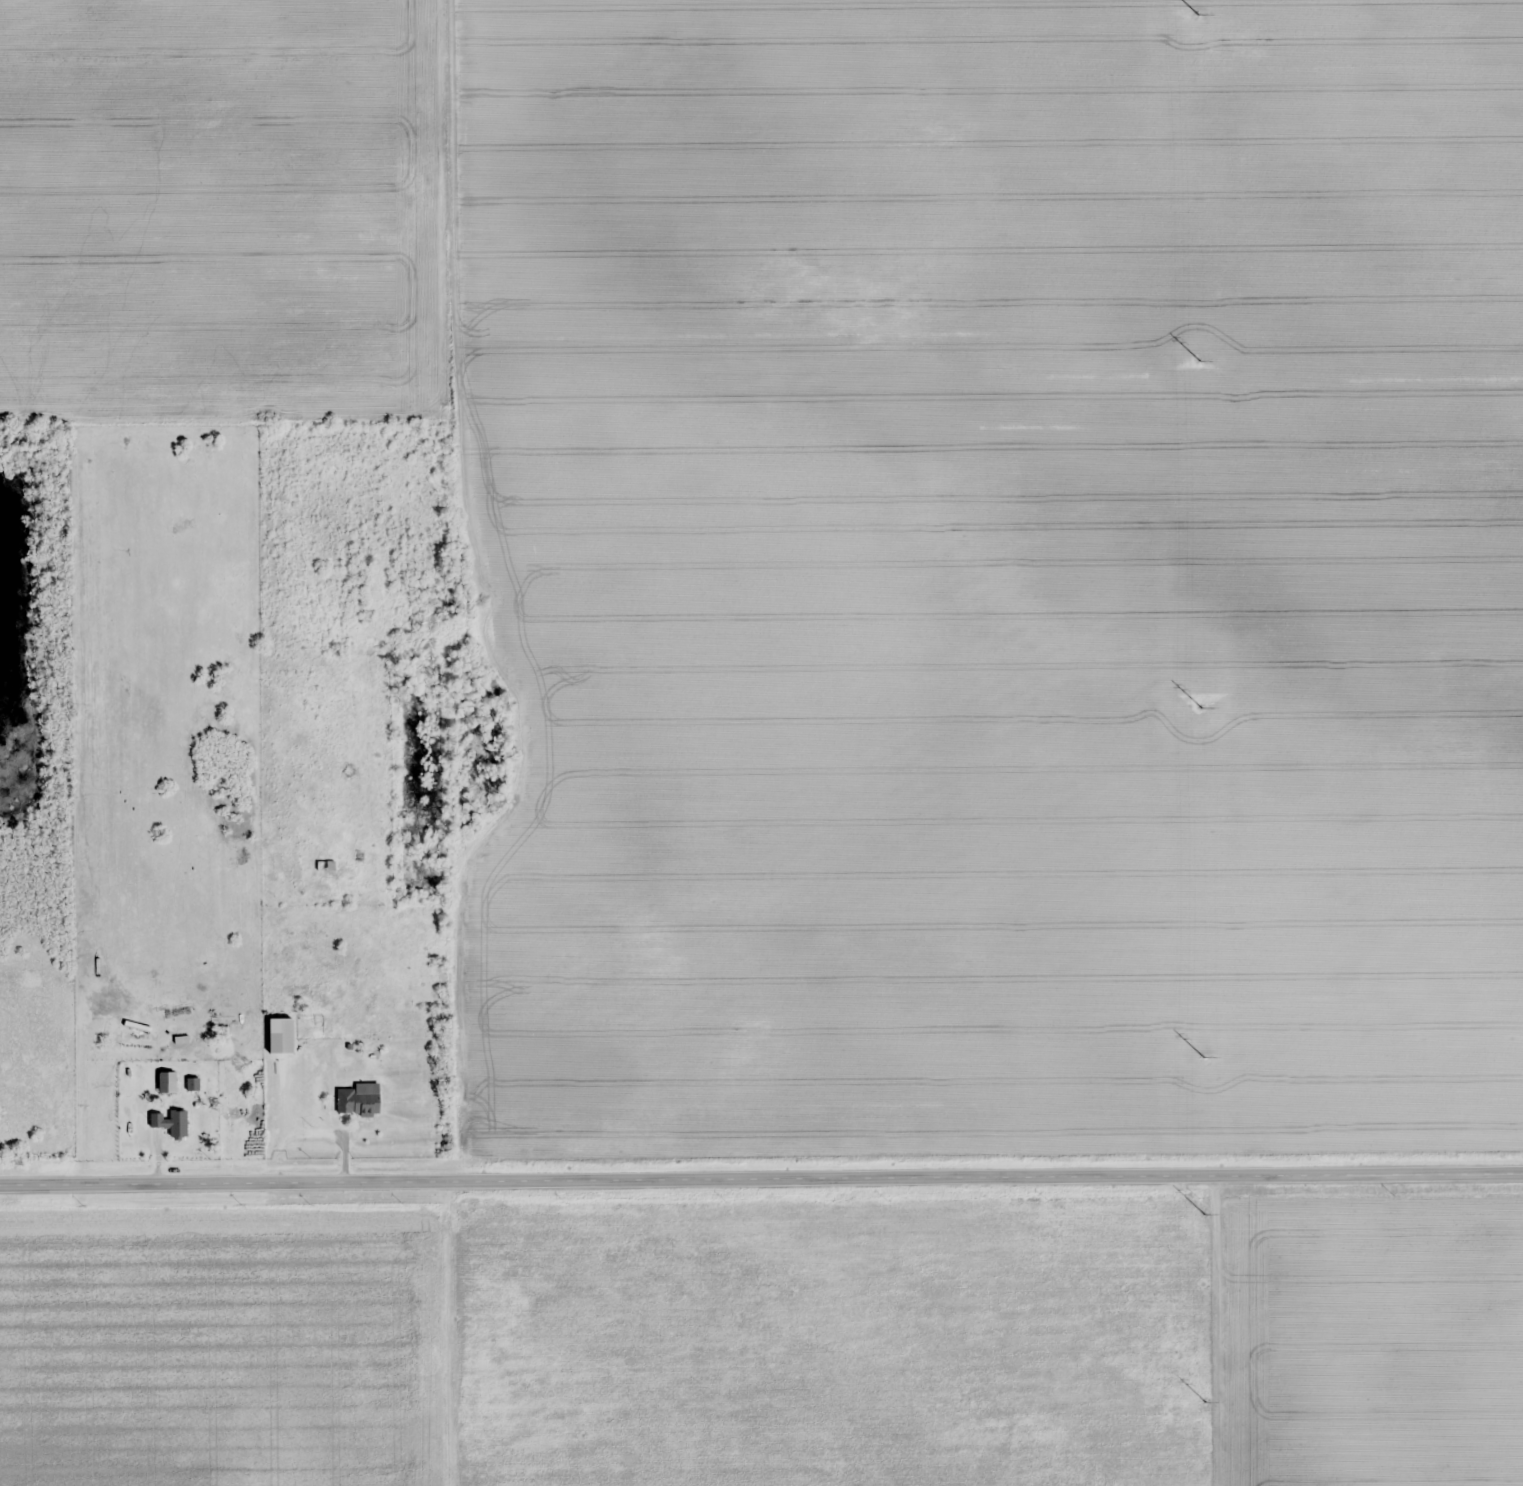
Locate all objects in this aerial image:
power tower: (1197, 18)
power tower: (1199, 354)
road: (456, 624)
power tower: (1201, 701)
building: (326, 865)
building: (282, 1035)
power tower: (1202, 1051)
building: (168, 1083)
building: (358, 1102)
building: (172, 1123)
road: (761, 1182)
power tower: (1204, 1208)
road: (1232, 1332)
power tower: (1205, 1396)

